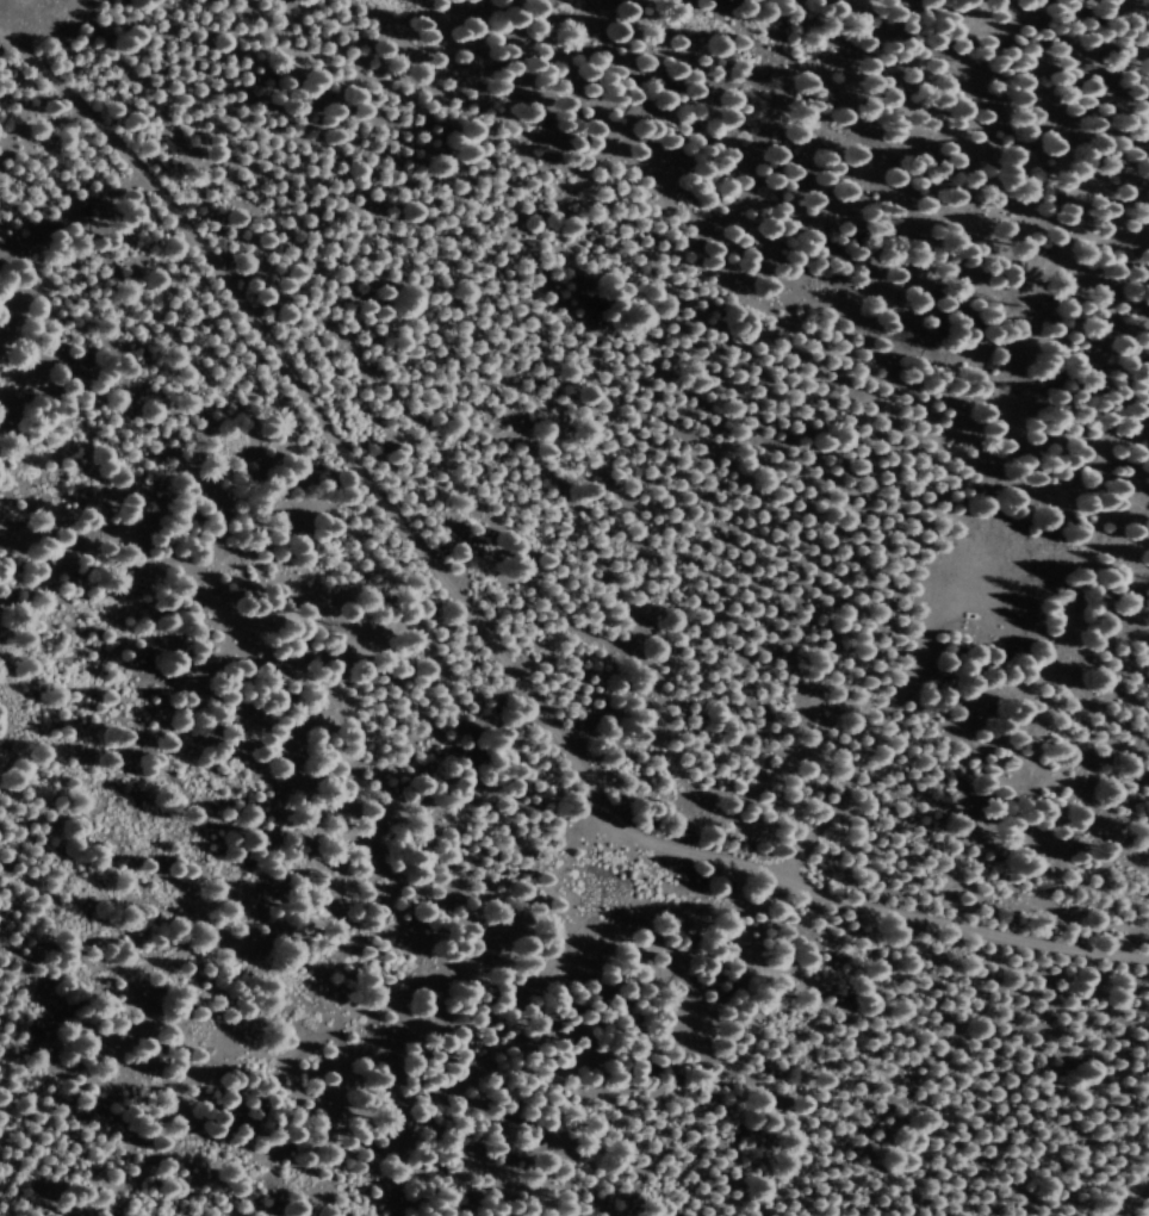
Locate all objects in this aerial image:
road: (492, 631)
road: (1120, 1177)

